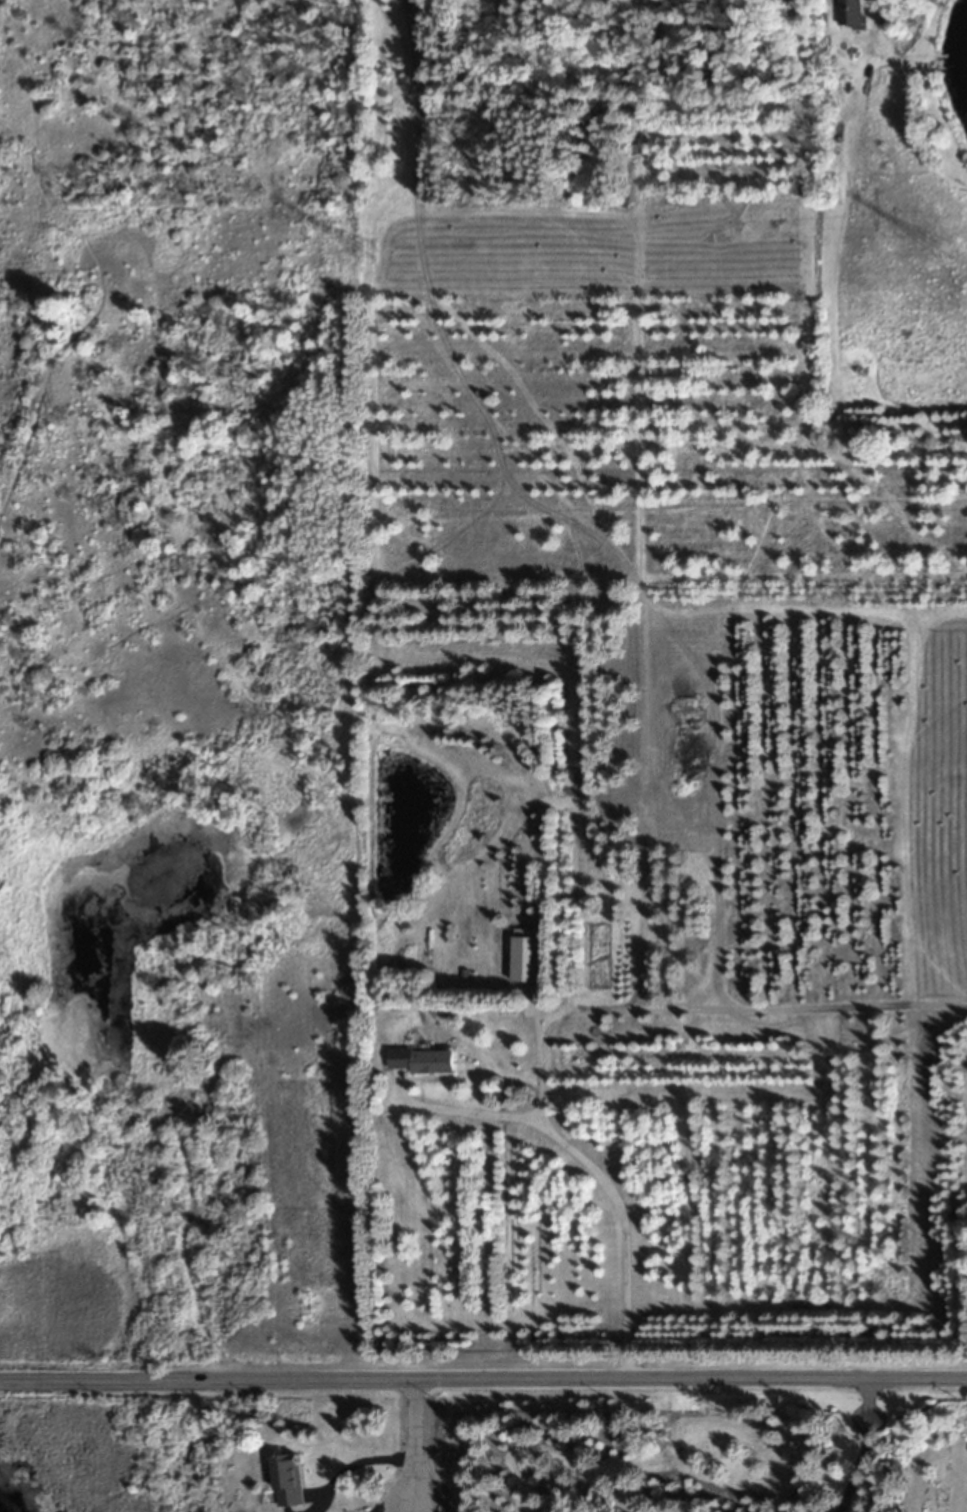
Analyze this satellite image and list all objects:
power tower: (944, 258)
power tower: (366, 260)
building: (527, 957)
building: (422, 1062)
road: (469, 1114)
road: (604, 1179)
road: (483, 1380)
road: (417, 1444)
road: (864, 1448)
road: (358, 1461)
building: (286, 1482)
road: (395, 1508)
road: (419, 1510)

